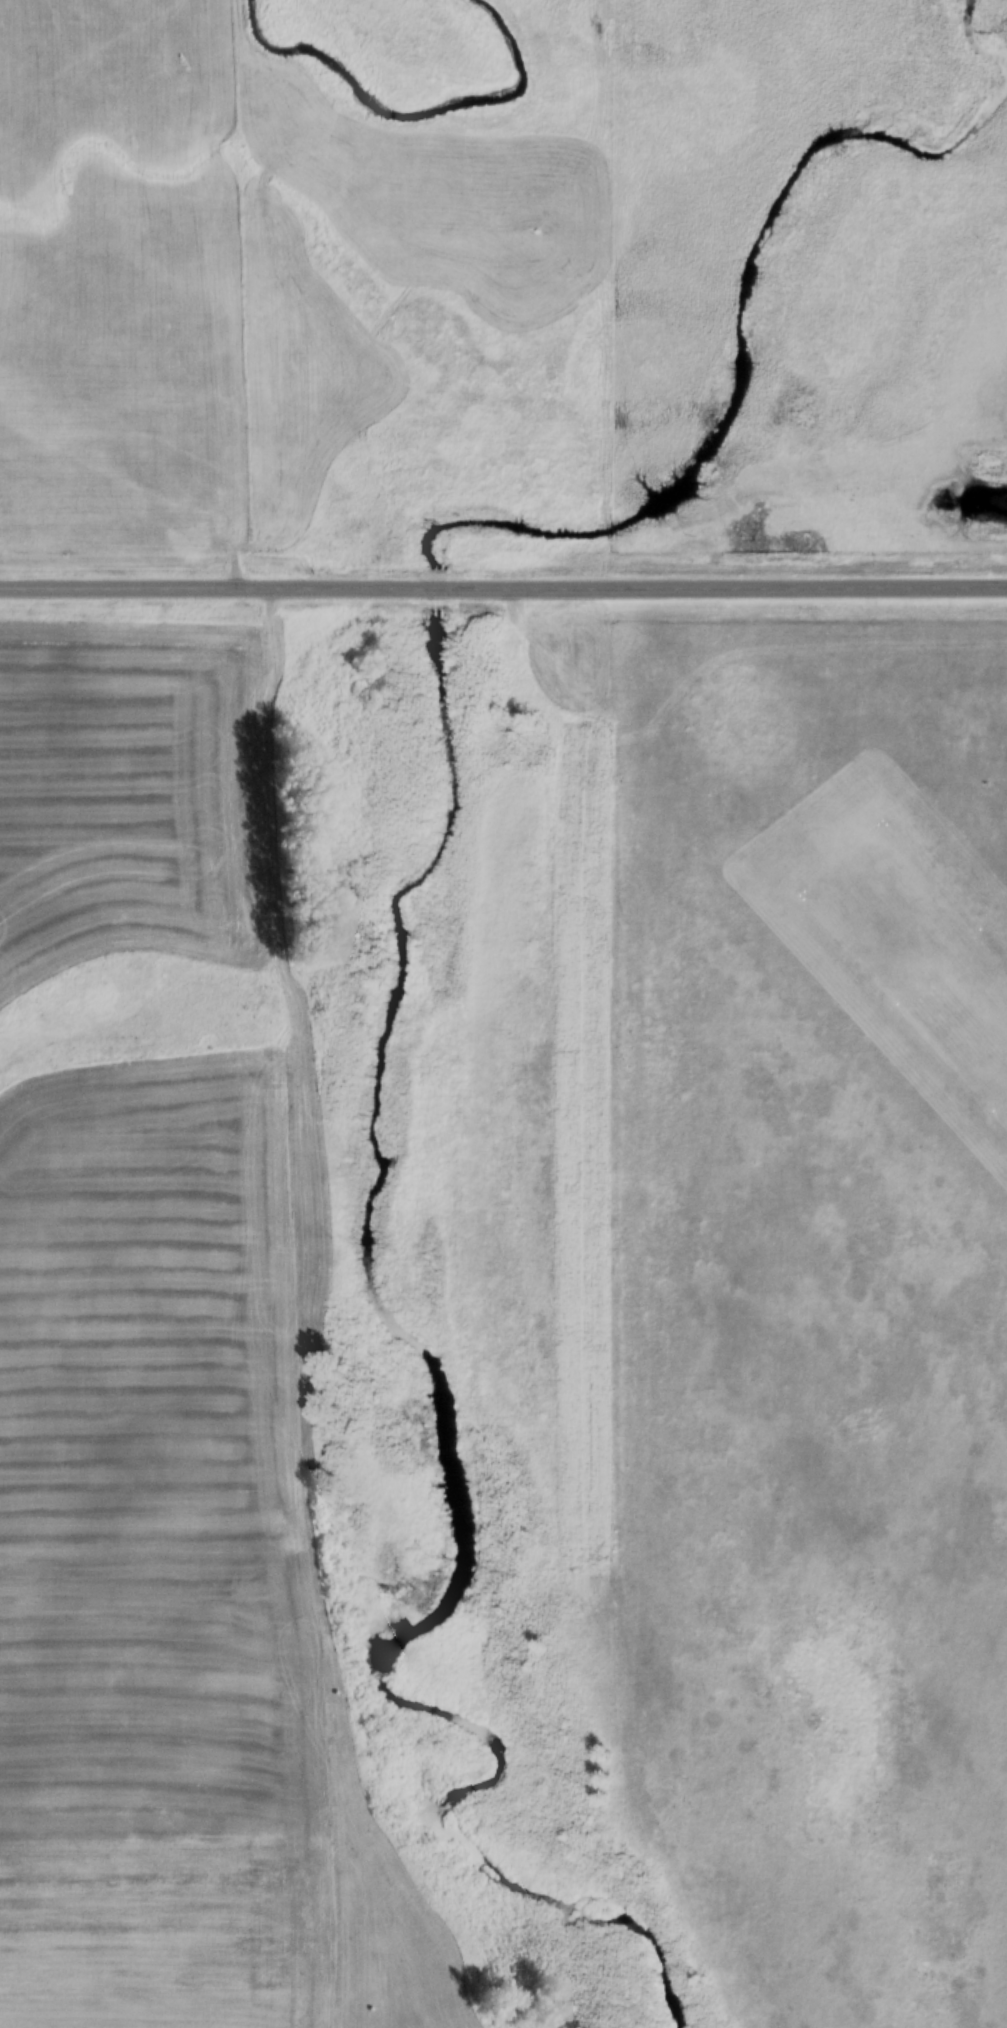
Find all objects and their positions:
road: (503, 584)
airport runway: (933, 948)
airport: (808, 1320)

